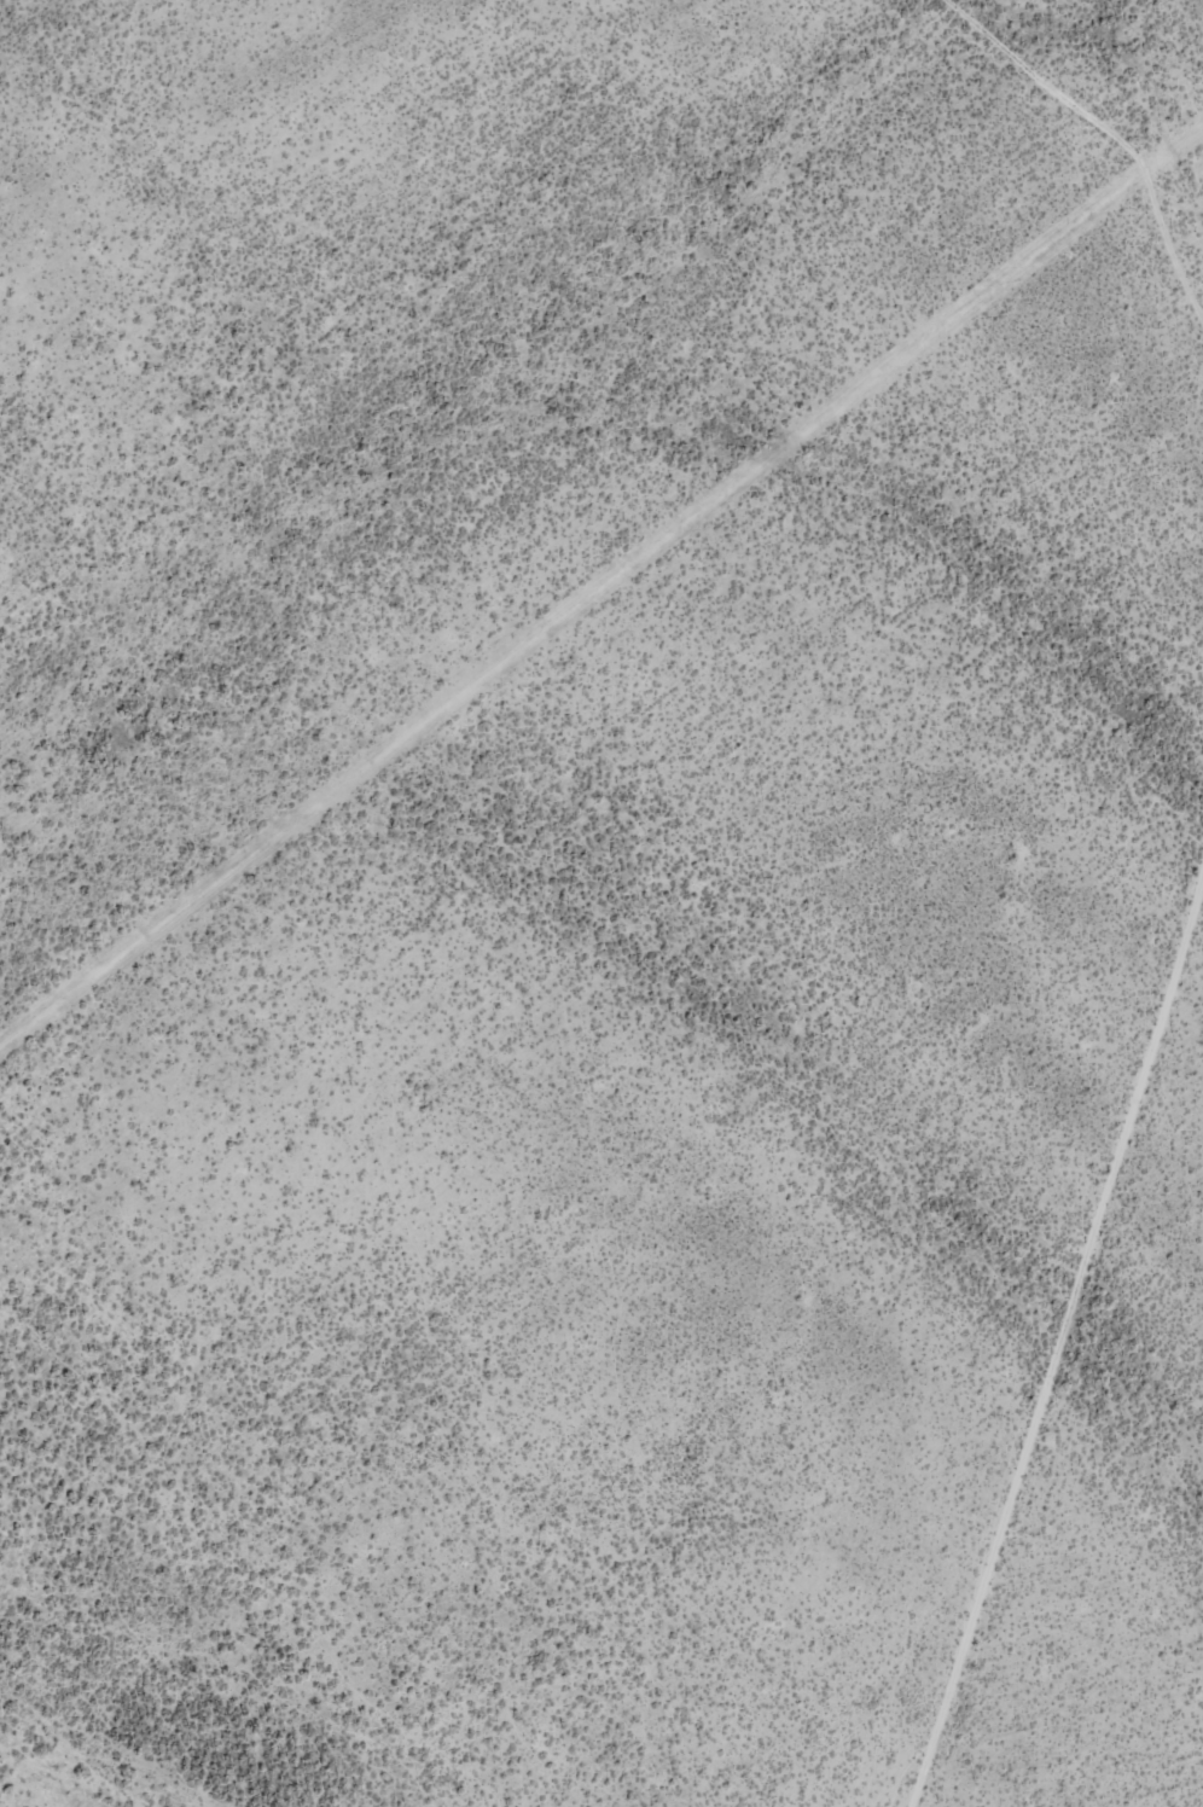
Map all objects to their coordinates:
road: (1117, 124)
road: (1060, 1346)

